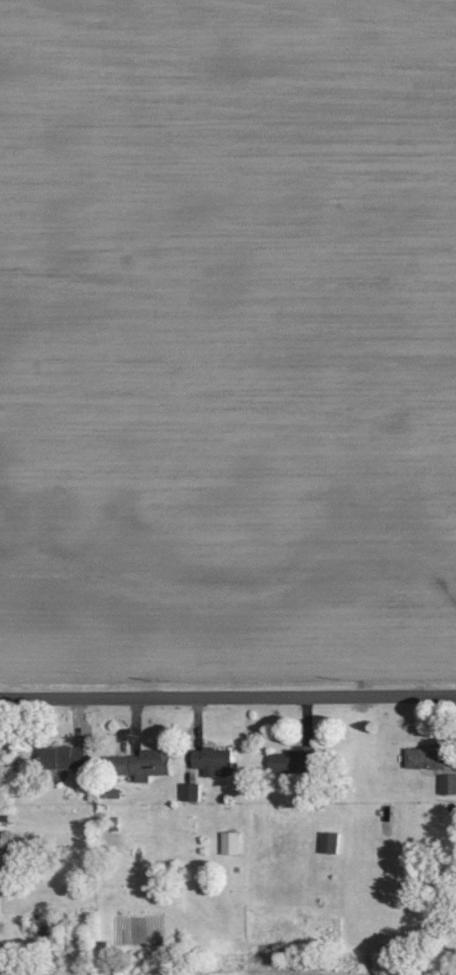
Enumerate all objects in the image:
road: (228, 699)
building: (63, 756)
building: (427, 757)
building: (294, 758)
building: (213, 760)
building: (146, 763)
building: (448, 783)
building: (191, 791)
building: (232, 842)
building: (330, 842)

